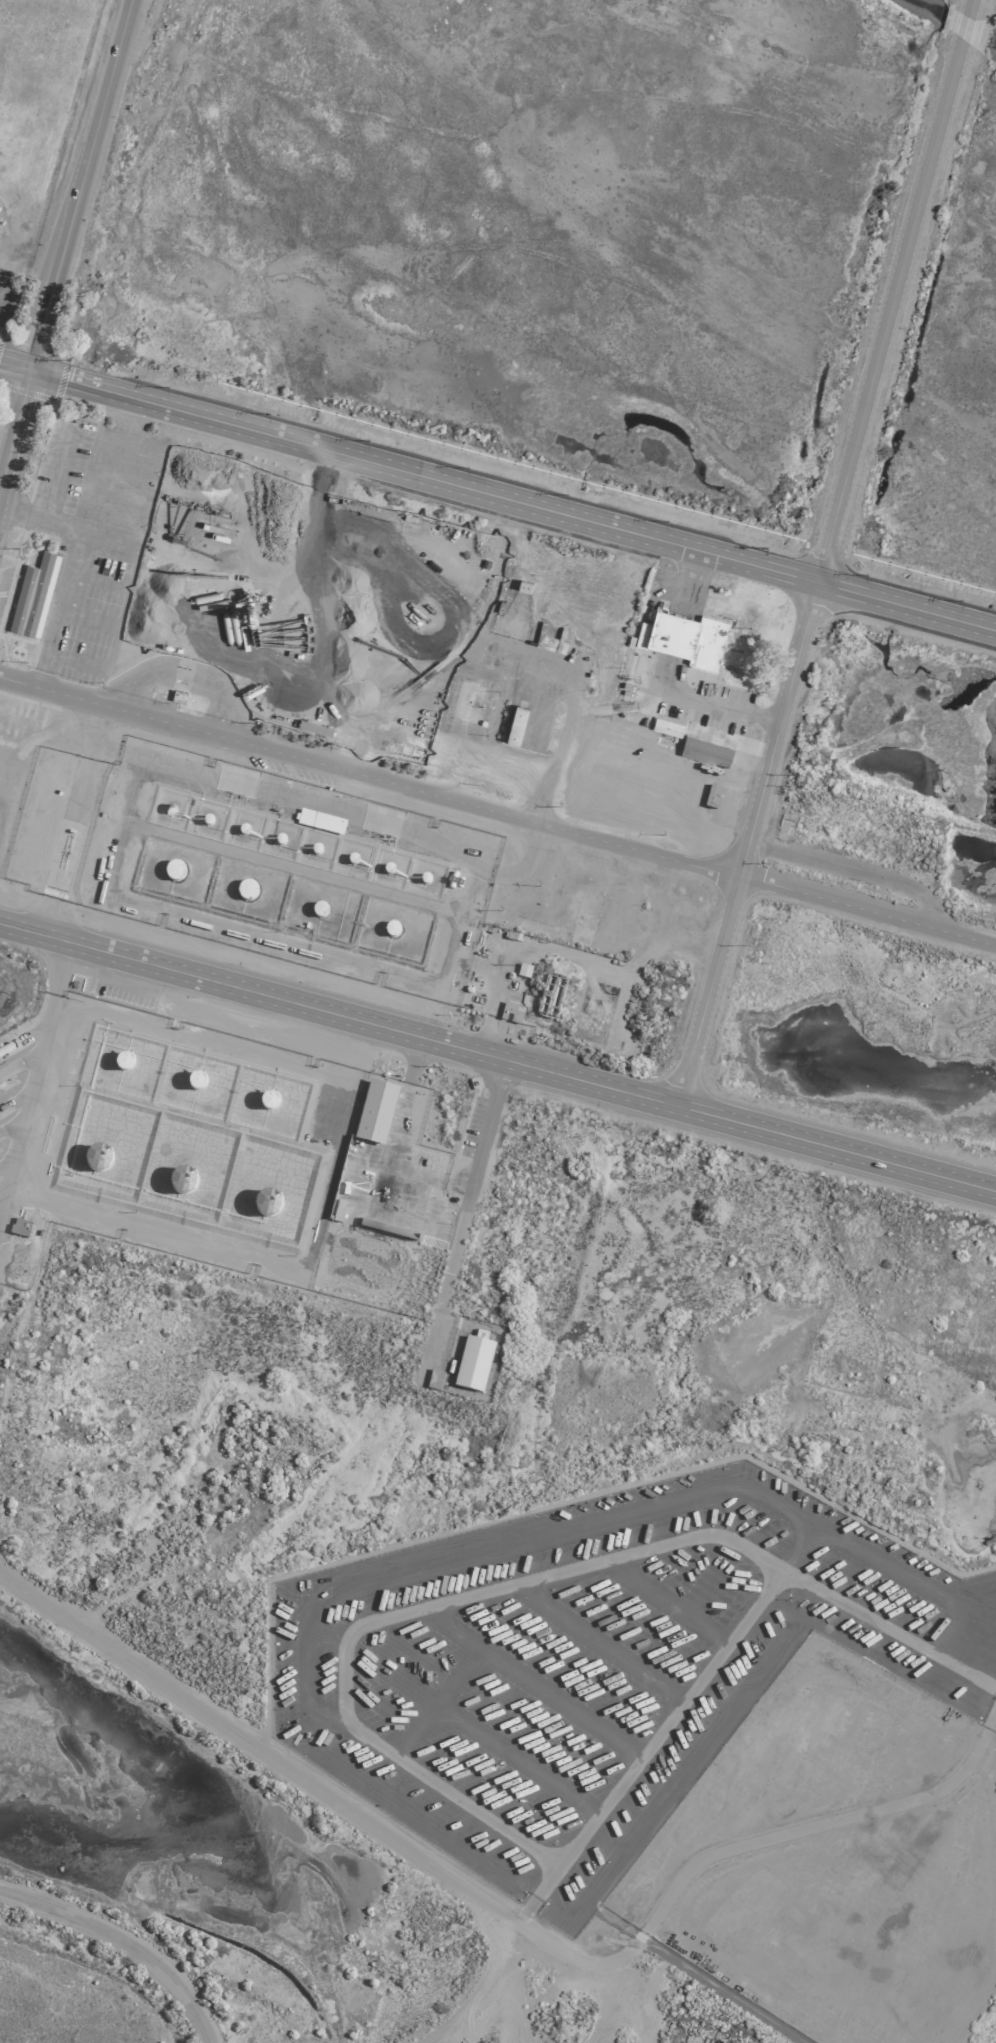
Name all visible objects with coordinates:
road: (967, 6)
road: (962, 27)
road: (124, 37)
road: (79, 183)
road: (15, 363)
road: (15, 423)
road: (512, 499)
road: (816, 573)
building: (522, 584)
building: (32, 595)
building: (683, 636)
road: (704, 702)
building: (514, 723)
building: (665, 725)
building: (704, 751)
building: (711, 794)
road: (497, 813)
building: (319, 820)
building: (522, 969)
building: (508, 1011)
airport: (498, 1021)
road: (498, 1058)
road: (32, 1067)
building: (374, 1111)
road: (470, 1185)
building: (18, 1226)
building: (472, 1362)
road: (505, 1584)
road: (268, 1755)
road: (595, 1811)
road: (534, 1893)
road: (123, 1942)

